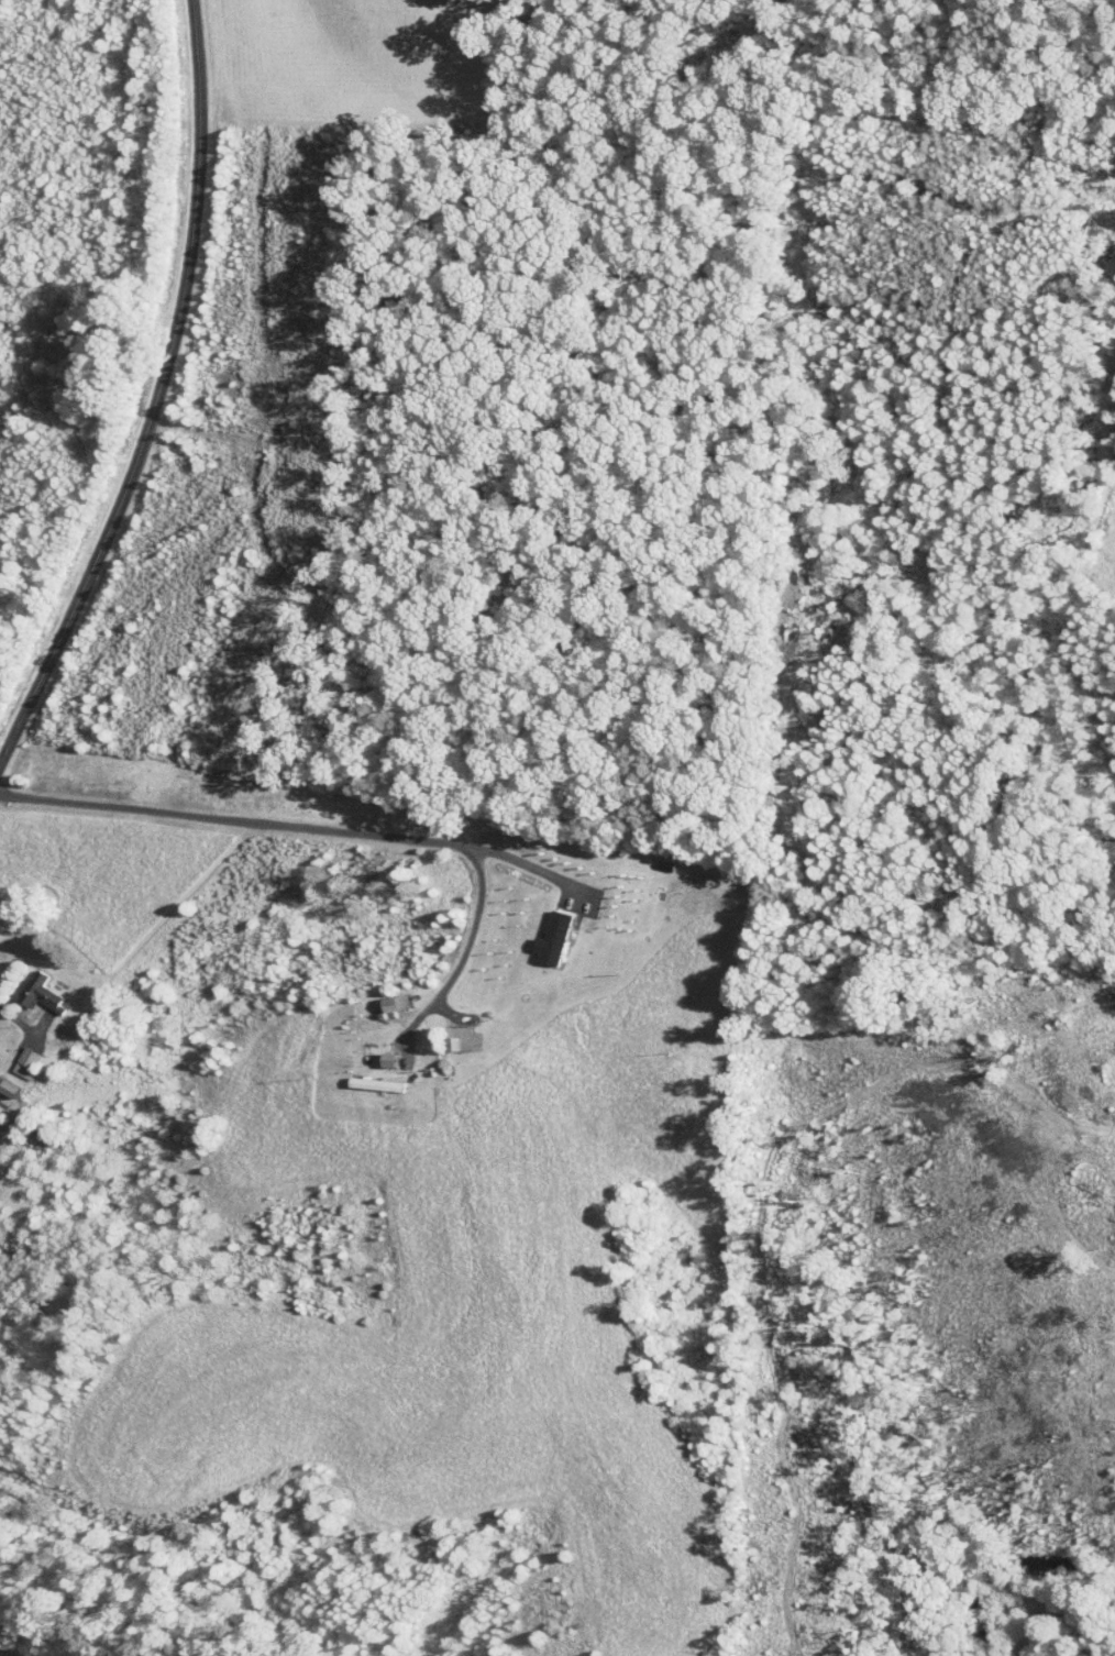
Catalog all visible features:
road: (162, 395)
road: (294, 824)
building: (545, 931)
building: (34, 985)
building: (387, 995)
road: (15, 1018)
building: (383, 1051)
building: (18, 1055)
building: (5, 1081)

